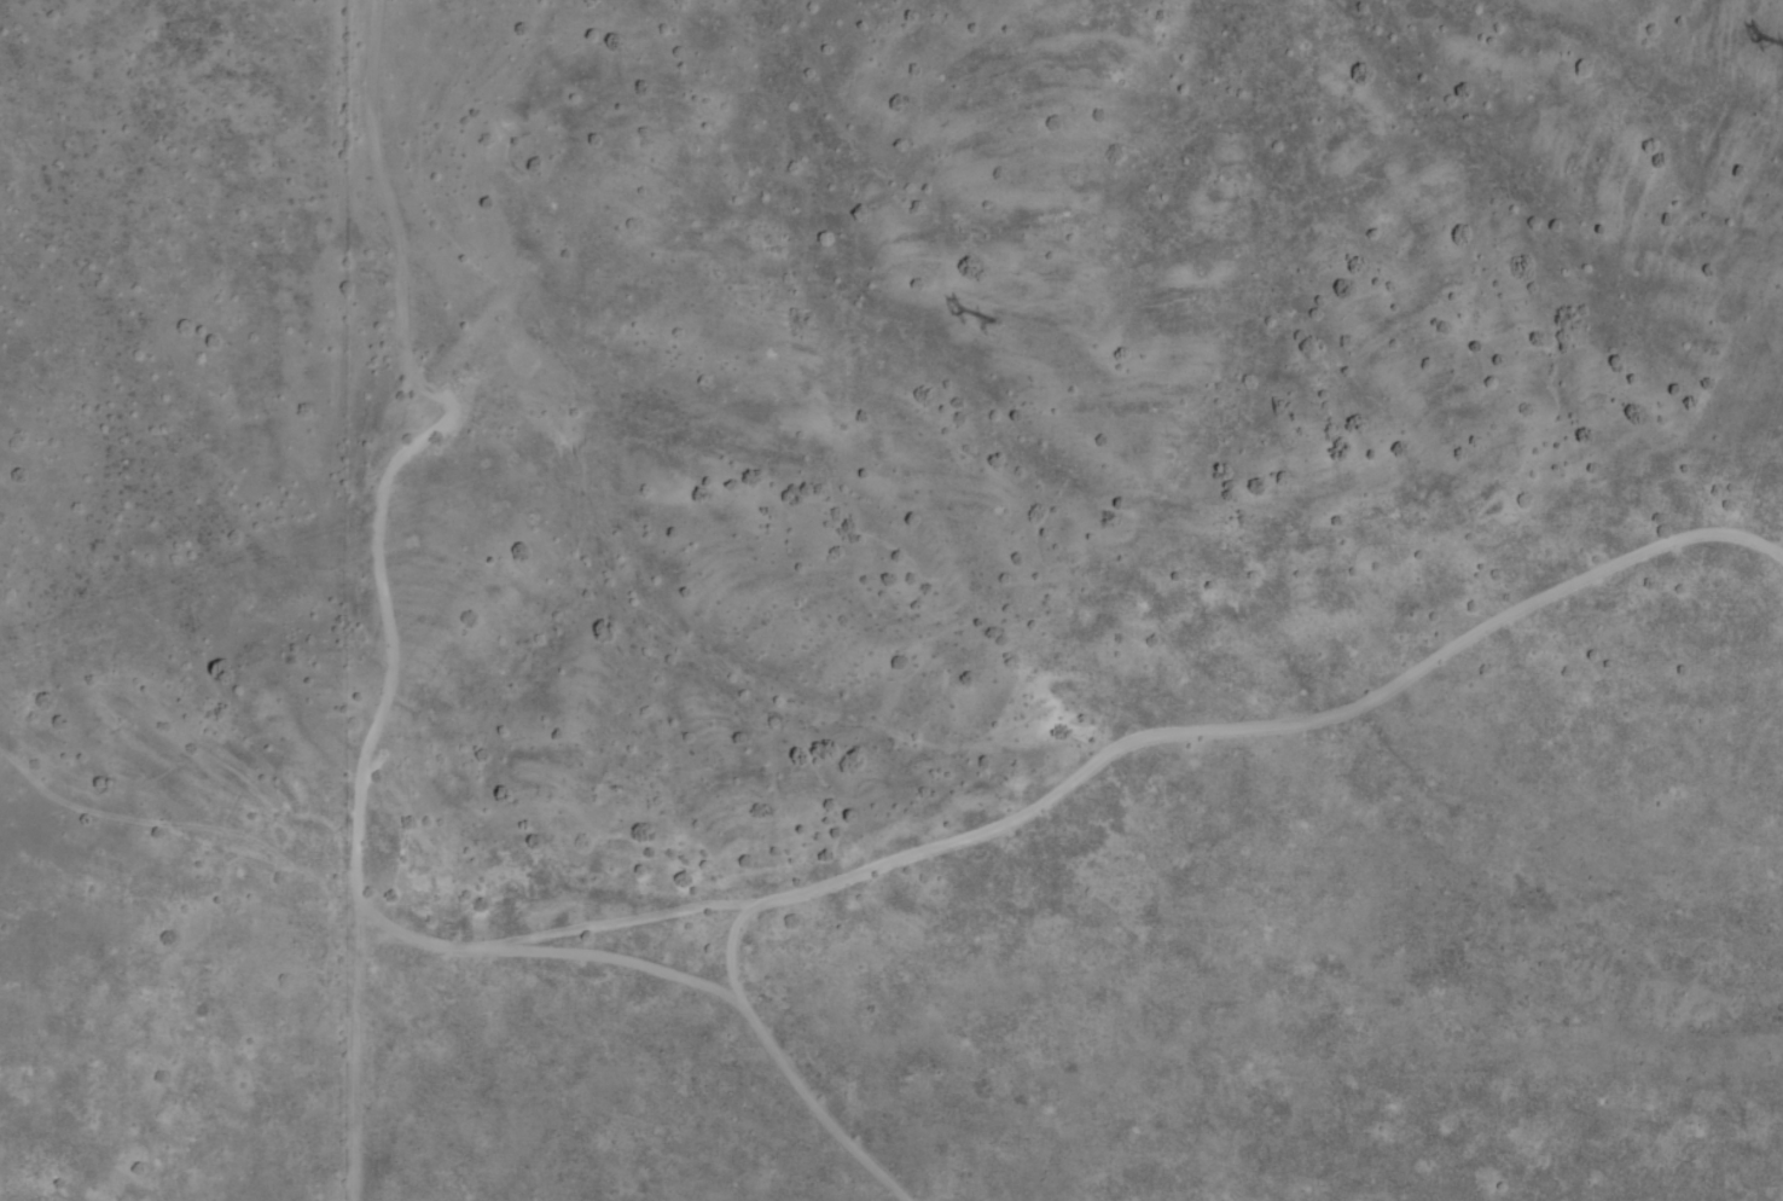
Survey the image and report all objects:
power tower: (994, 320)
road: (364, 593)

